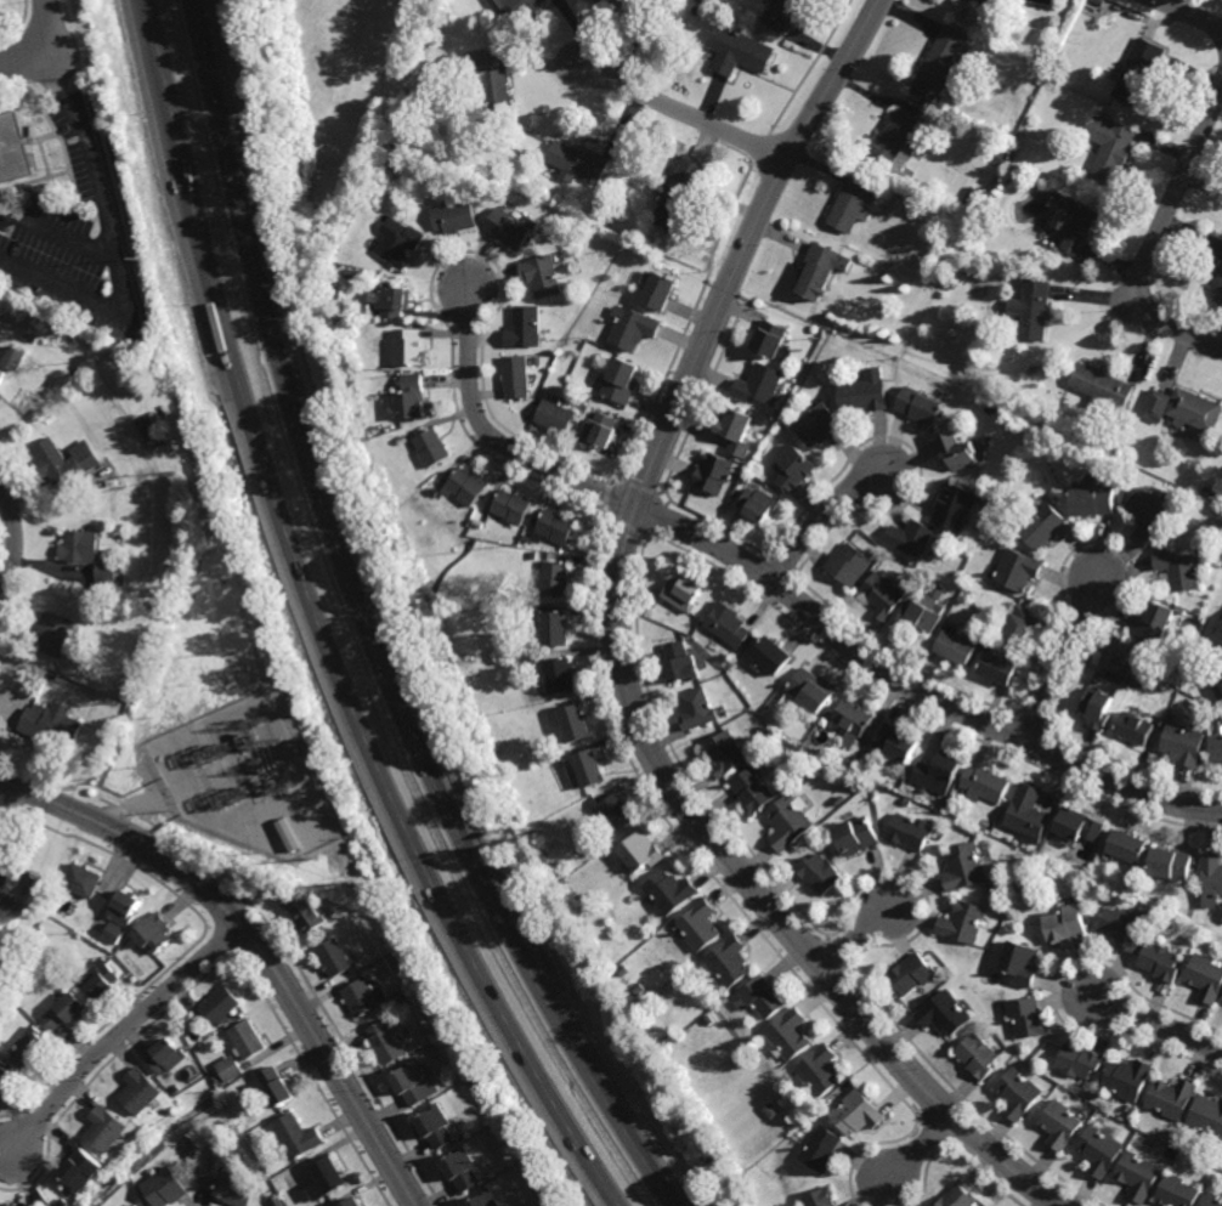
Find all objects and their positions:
building: (995, 1)
building: (703, 2)
building: (621, 4)
building: (1092, 9)
building: (514, 10)
building: (782, 13)
road: (1192, 15)
road: (36, 44)
building: (740, 52)
building: (1047, 56)
building: (943, 63)
power tower: (92, 68)
building: (1042, 69)
building: (1137, 73)
building: (490, 79)
building: (1051, 85)
road: (681, 113)
building: (893, 138)
building: (15, 148)
building: (1013, 148)
building: (1110, 148)
building: (577, 163)
building: (905, 172)
building: (898, 189)
building: (679, 196)
building: (370, 202)
building: (850, 205)
building: (598, 211)
building: (453, 217)
building: (1075, 223)
building: (508, 230)
road: (57, 232)
road: (111, 238)
road: (1155, 239)
building: (398, 243)
building: (969, 249)
power tower: (141, 257)
building: (821, 271)
building: (541, 277)
building: (1217, 285)
building: (658, 290)
building: (390, 301)
building: (1033, 310)
building: (524, 328)
building: (634, 329)
building: (34, 338)
building: (770, 340)
building: (408, 349)
building: (15, 358)
building: (534, 361)
building: (1, 373)
building: (515, 378)
building: (621, 381)
building: (758, 386)
building: (1101, 386)
building: (865, 393)
building: (411, 398)
building: (1155, 406)
building: (921, 407)
building: (579, 409)
building: (1192, 412)
building: (555, 417)
building: (1020, 425)
building: (154, 426)
building: (821, 428)
building: (600, 431)
building: (736, 434)
building: (400, 441)
building: (1114, 446)
power tower: (192, 447)
building: (430, 448)
building: (958, 453)
building: (1136, 454)
building: (1139, 458)
building: (66, 462)
building: (793, 470)
building: (715, 474)
building: (747, 480)
building: (464, 487)
building: (435, 493)
building: (1207, 494)
building: (1096, 503)
building: (758, 506)
building: (511, 508)
building: (956, 508)
building: (1216, 509)
building: (1147, 516)
building: (482, 520)
road: (821, 520)
building: (554, 528)
building: (1046, 528)
building: (1220, 533)
building: (526, 539)
building: (912, 539)
road: (17, 543)
building: (536, 556)
building: (89, 557)
building: (849, 566)
building: (1177, 571)
building: (1018, 572)
building: (555, 581)
power tower: (225, 583)
road: (788, 594)
building: (685, 596)
building: (883, 598)
building: (531, 608)
building: (926, 615)
building: (1153, 623)
road: (321, 627)
building: (729, 627)
road: (369, 628)
building: (1024, 628)
building: (554, 629)
building: (1220, 636)
building: (56, 638)
building: (138, 642)
building: (956, 646)
building: (773, 655)
building: (1119, 655)
road: (620, 656)
building: (536, 658)
road: (1062, 658)
building: (683, 662)
building: (1176, 666)
building: (1000, 667)
building: (1149, 667)
building: (1220, 674)
building: (561, 675)
building: (811, 687)
building: (1218, 692)
building: (1098, 706)
building: (698, 707)
building: (1172, 717)
building: (853, 719)
building: (576, 721)
building: (51, 725)
building: (1135, 727)
building: (770, 736)
building: (898, 741)
building: (1182, 744)
building: (783, 747)
building: (1215, 749)
building: (728, 752)
building: (850, 764)
building: (828, 766)
building: (589, 768)
building: (939, 771)
power substation: (249, 776)
building: (986, 782)
building: (753, 788)
building: (838, 800)
building: (909, 802)
building: (618, 811)
building: (1029, 813)
building: (787, 822)
building: (1077, 826)
building: (910, 831)
building: (856, 836)
building: (818, 839)
building: (1127, 845)
building: (643, 850)
building: (1170, 864)
building: (6, 866)
building: (964, 867)
building: (819, 872)
building: (1211, 879)
building: (83, 881)
power tower: (352, 882)
building: (671, 891)
building: (991, 895)
building: (7, 901)
building: (125, 907)
building: (306, 913)
building: (1161, 916)
building: (963, 922)
building: (1065, 923)
building: (701, 925)
building: (1124, 925)
building: (117, 934)
building: (155, 934)
road: (855, 935)
road: (253, 944)
building: (113, 950)
building: (335, 958)
building: (730, 961)
building: (1022, 962)
building: (1160, 962)
building: (911, 973)
building: (1205, 978)
building: (100, 980)
building: (762, 997)
building: (361, 998)
building: (222, 1006)
building: (1, 1008)
building: (67, 1012)
building: (945, 1013)
building: (1029, 1017)
road: (1159, 1019)
building: (192, 1020)
building: (708, 1020)
power tower: (439, 1025)
road: (119, 1031)
building: (788, 1035)
building: (667, 1040)
building: (248, 1041)
building: (386, 1043)
building: (32, 1049)
building: (979, 1055)
building: (169, 1057)
building: (1081, 1060)
building: (740, 1063)
building: (232, 1069)
building: (820, 1071)
building: (217, 1078)
building: (1128, 1078)
building: (7, 1081)
building: (415, 1083)
building: (278, 1087)
building: (176, 1089)
building: (140, 1092)
building: (1019, 1093)
building: (1171, 1099)
building: (769, 1111)
building: (858, 1114)
building: (1207, 1117)
building: (1062, 1125)
building: (436, 1127)
building: (106, 1128)
building: (300, 1137)
road: (918, 1146)
building: (821, 1149)
building: (1102, 1150)
power tower: (522, 1160)
building: (95, 1162)
building: (462, 1171)
building: (78, 1177)
building: (1139, 1177)
building: (228, 1178)
building: (328, 1180)
building: (166, 1188)
building: (1176, 1193)
building: (820, 1197)
building: (958, 1197)
building: (486, 1200)
building: (1212, 1200)
building: (352, 1202)
building: (544, 1204)
building: (33, 1205)
building: (135, 1205)
building: (136, 1205)

